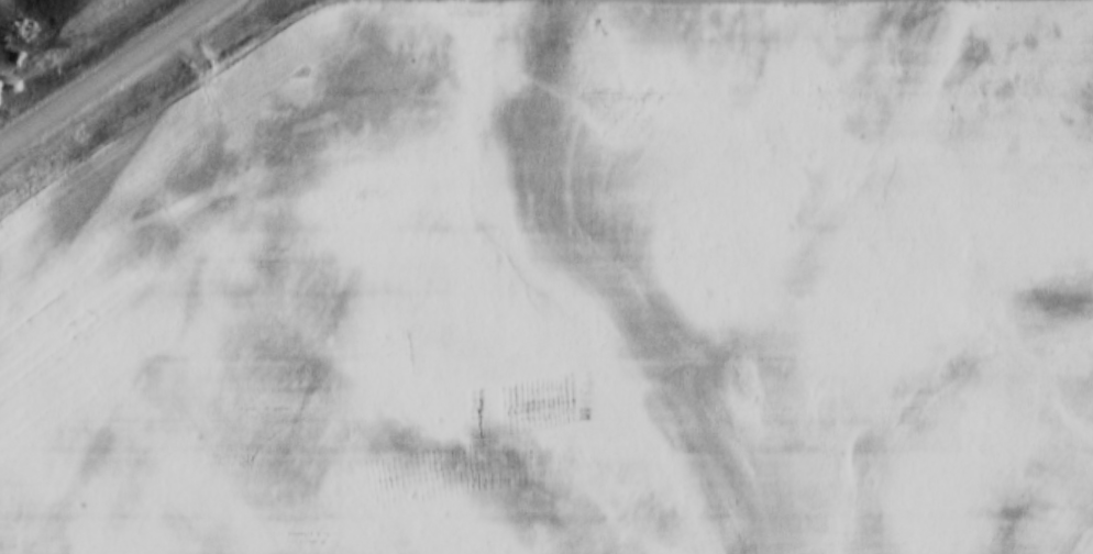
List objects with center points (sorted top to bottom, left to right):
power tower: (14, 52)
road: (114, 76)

